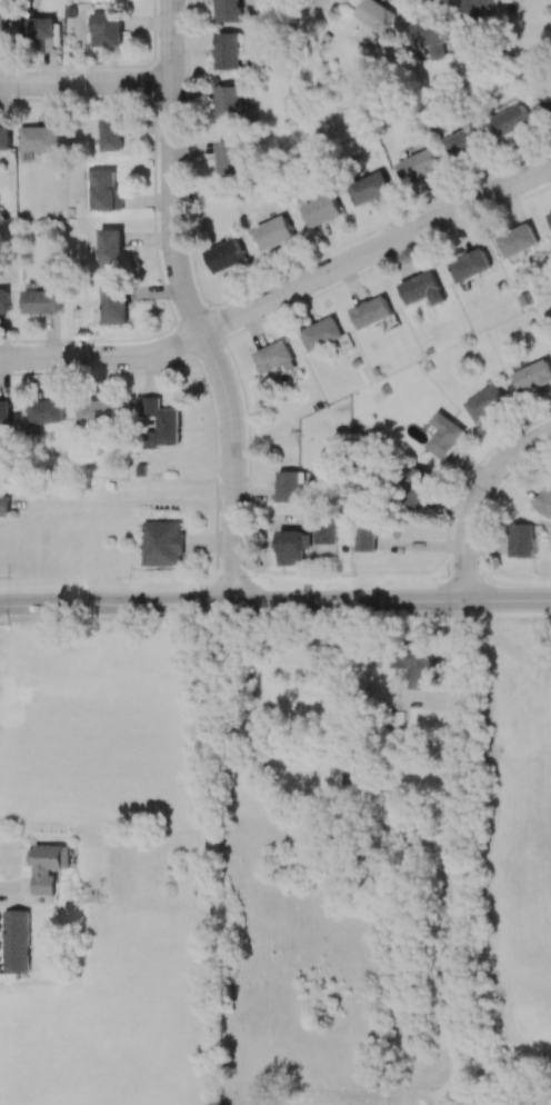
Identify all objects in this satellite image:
building: (473, 7)
building: (228, 10)
building: (373, 14)
building: (38, 27)
building: (2, 28)
building: (103, 29)
building: (425, 37)
building: (227, 50)
road: (84, 83)
building: (548, 98)
building: (227, 101)
building: (512, 117)
building: (110, 133)
building: (4, 137)
building: (39, 138)
building: (465, 143)
building: (228, 156)
building: (418, 166)
building: (370, 187)
building: (104, 190)
building: (322, 210)
building: (549, 216)
building: (275, 232)
building: (518, 243)
building: (110, 246)
building: (227, 255)
building: (470, 265)
building: (422, 288)
road: (282, 292)
building: (40, 301)
building: (113, 302)
building: (3, 303)
road: (187, 303)
building: (372, 312)
building: (322, 332)
building: (274, 357)
building: (534, 376)
building: (485, 402)
building: (46, 410)
building: (4, 411)
building: (96, 411)
building: (161, 422)
building: (444, 435)
building: (290, 485)
building: (419, 487)
road: (478, 499)
building: (545, 501)
building: (4, 505)
road: (134, 505)
building: (324, 530)
building: (364, 539)
building: (522, 539)
building: (161, 542)
building: (291, 547)
road: (391, 599)
road: (116, 604)
building: (415, 665)
road: (467, 808)
building: (47, 866)
building: (16, 943)
road: (469, 1062)

